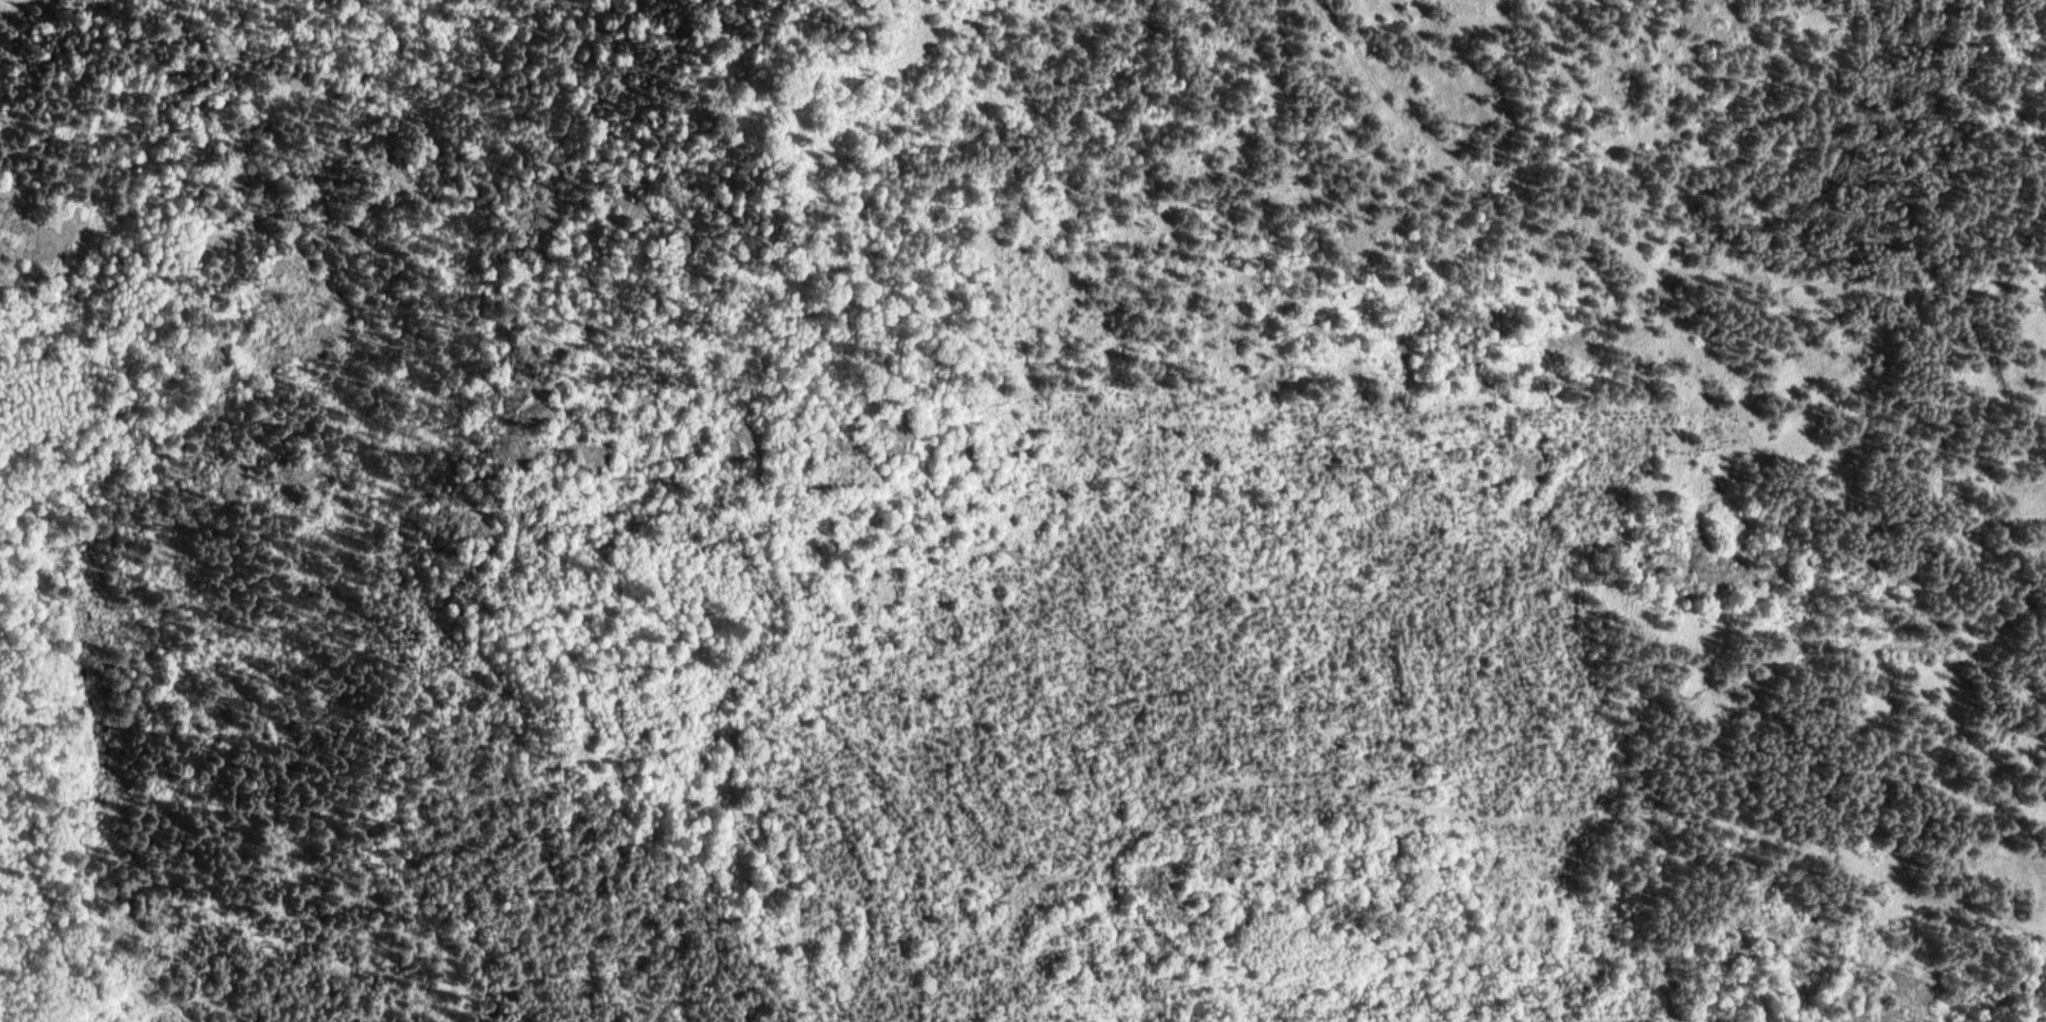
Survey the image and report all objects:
road: (1633, 251)

